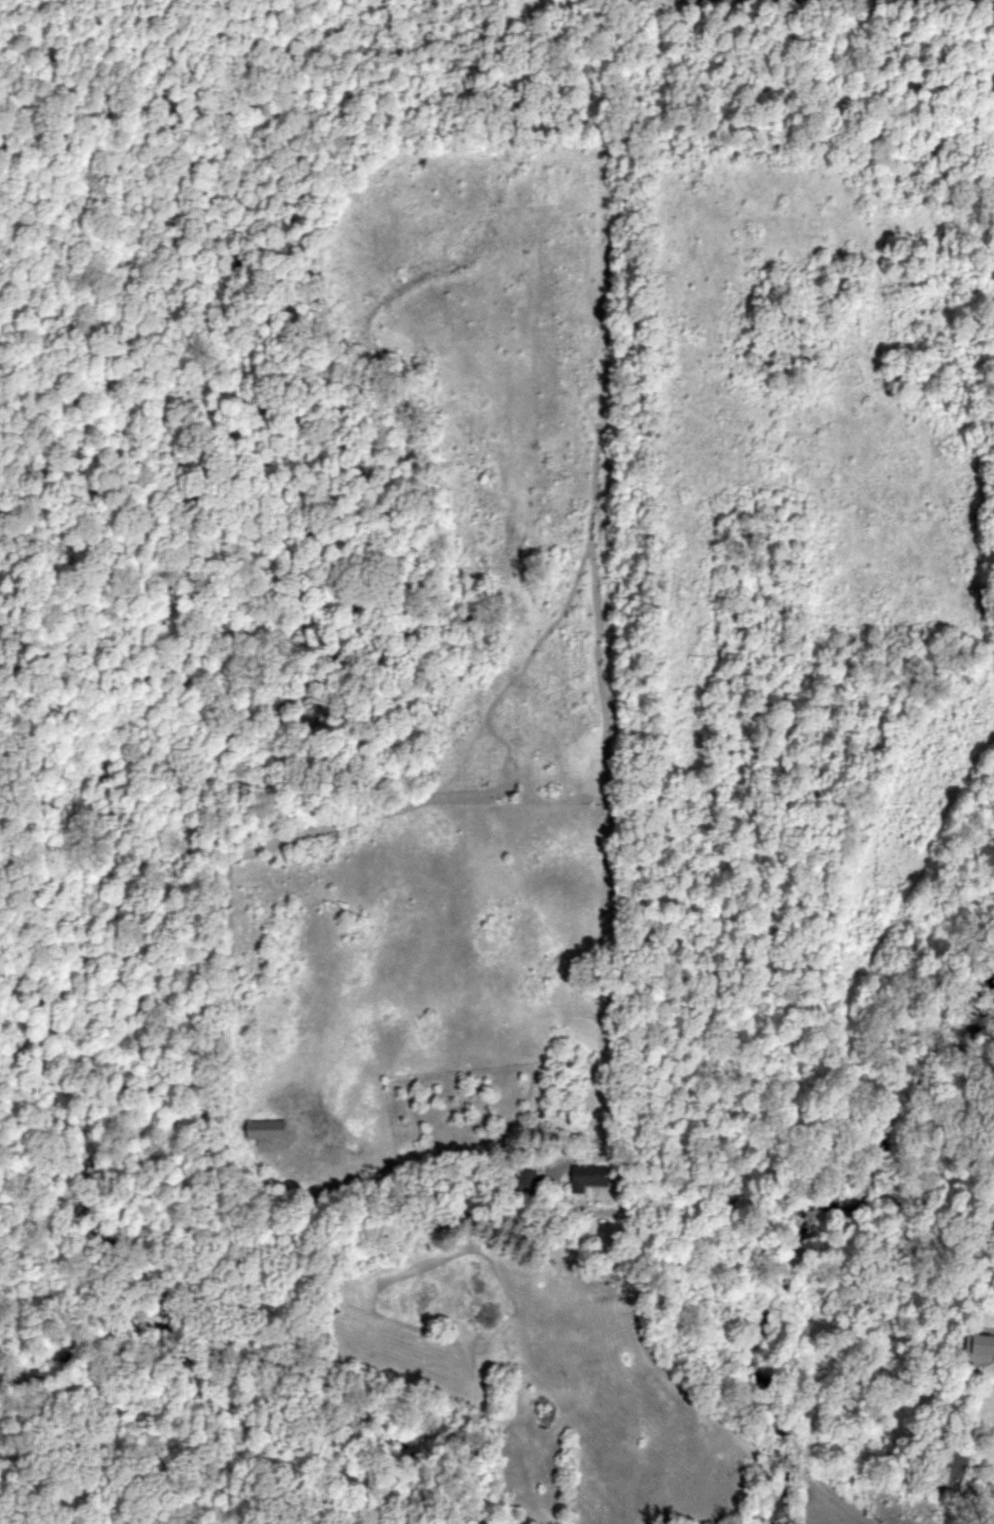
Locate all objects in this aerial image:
building: (265, 1129)
building: (983, 1346)
road: (687, 1386)

